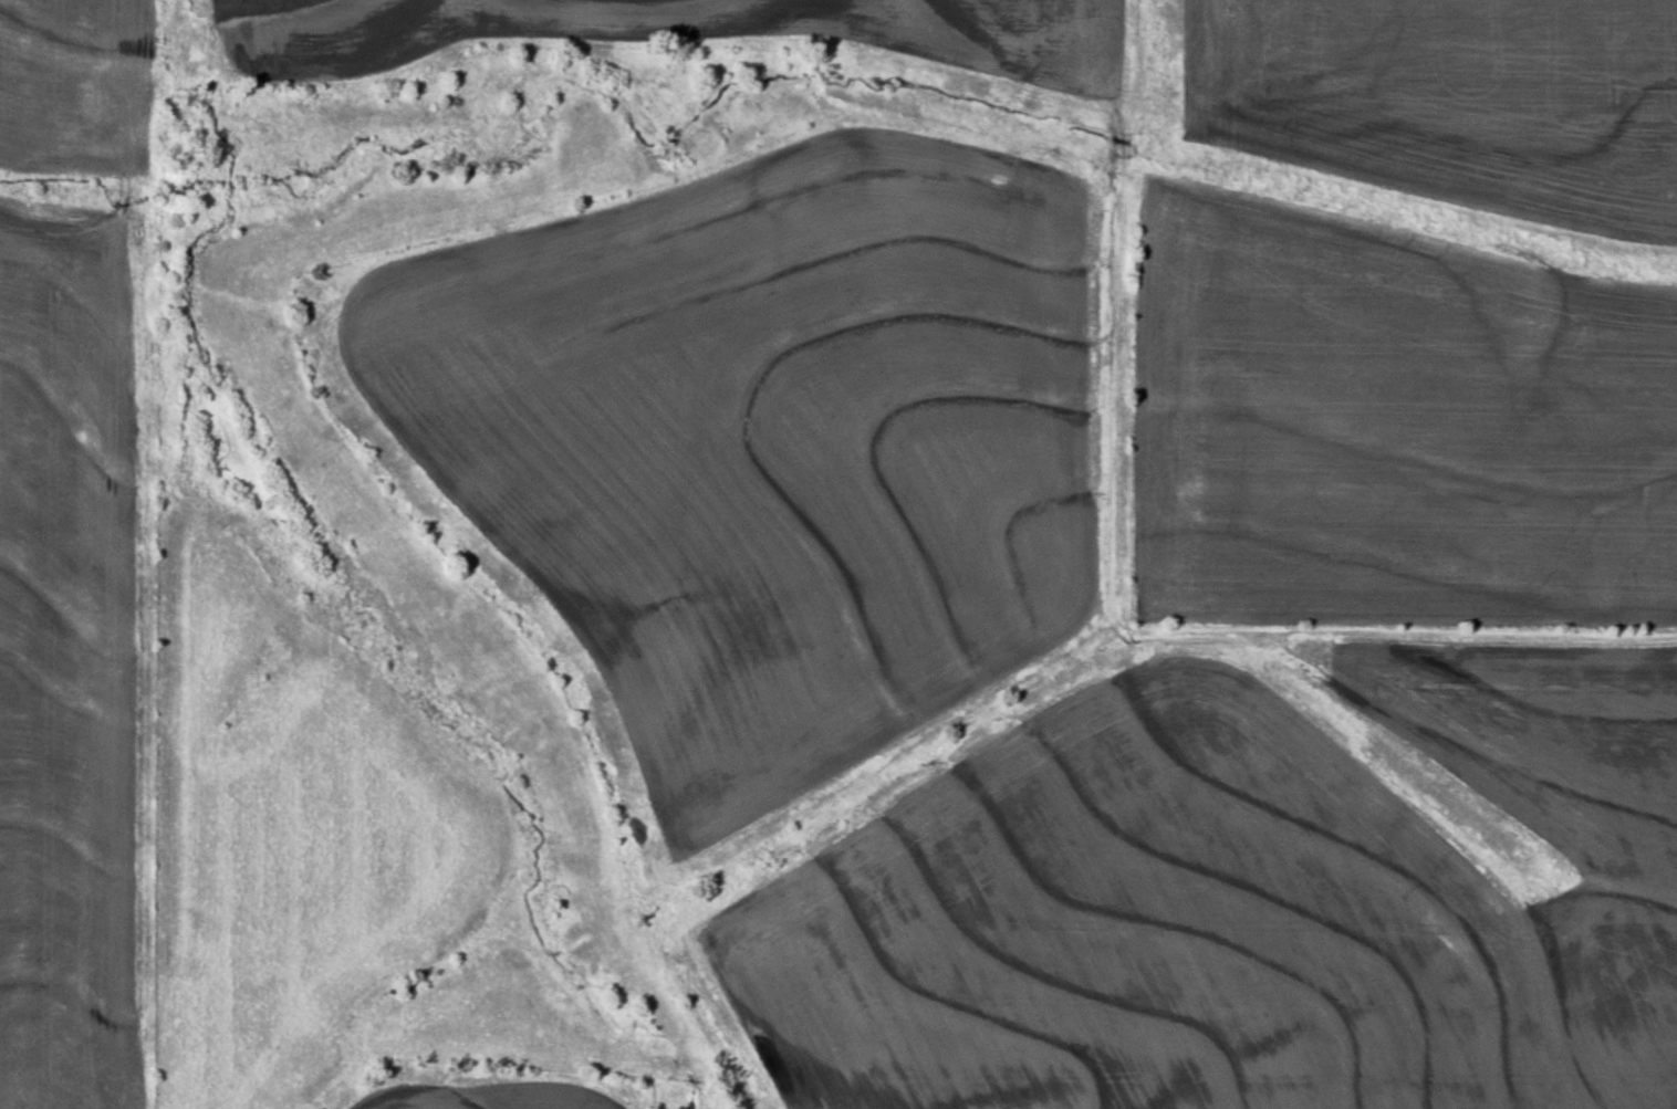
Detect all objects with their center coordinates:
crop: (1451, 101)
crop: (1392, 428)

